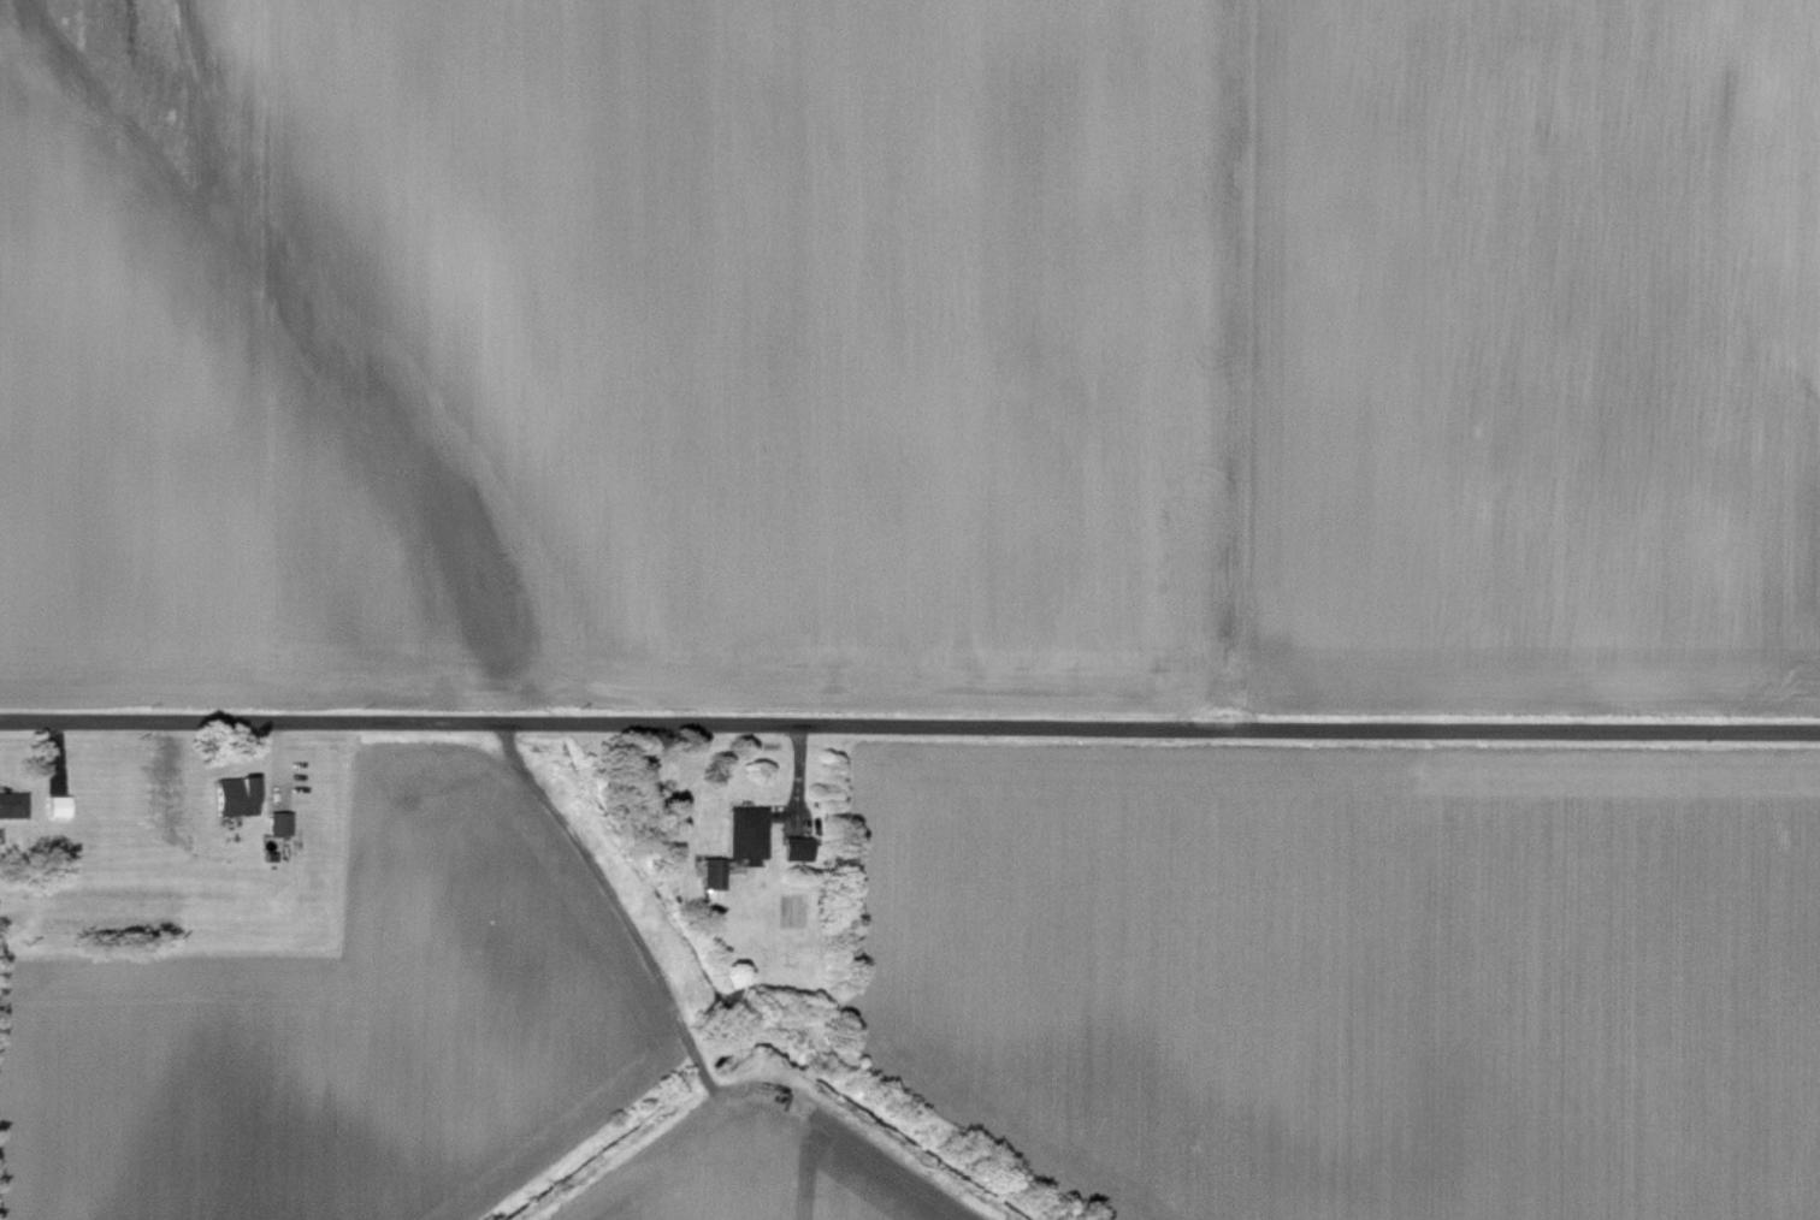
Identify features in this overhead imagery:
road: (910, 726)
building: (235, 794)
building: (12, 804)
building: (58, 805)
building: (279, 823)
building: (797, 848)

